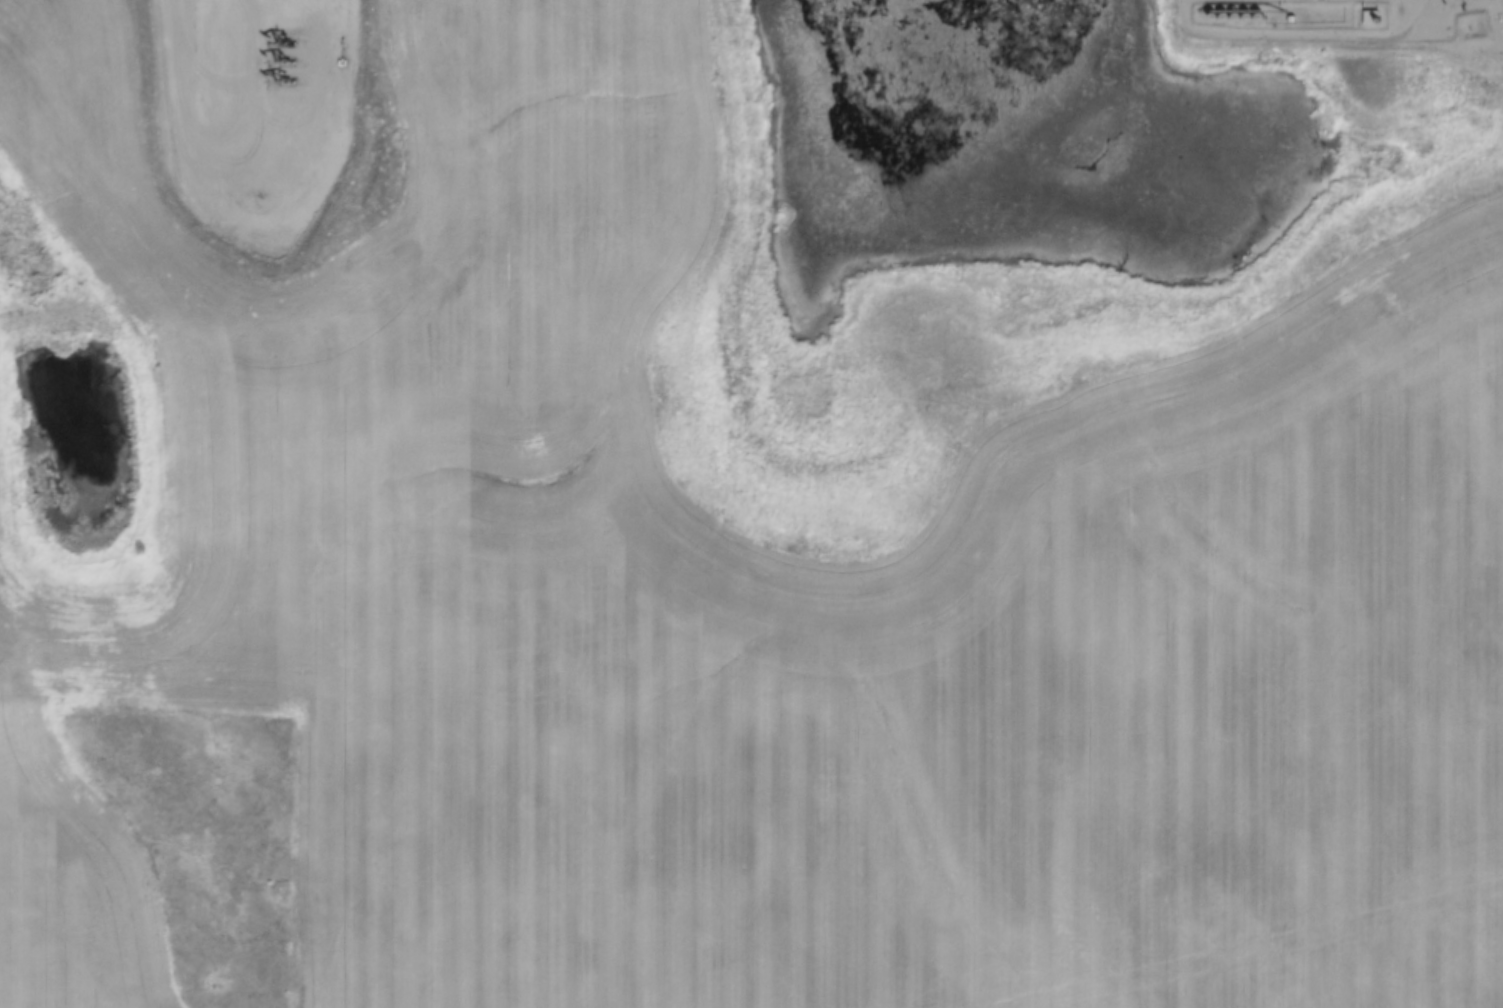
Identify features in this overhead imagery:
building: (1368, 17)
road: (169, 792)

